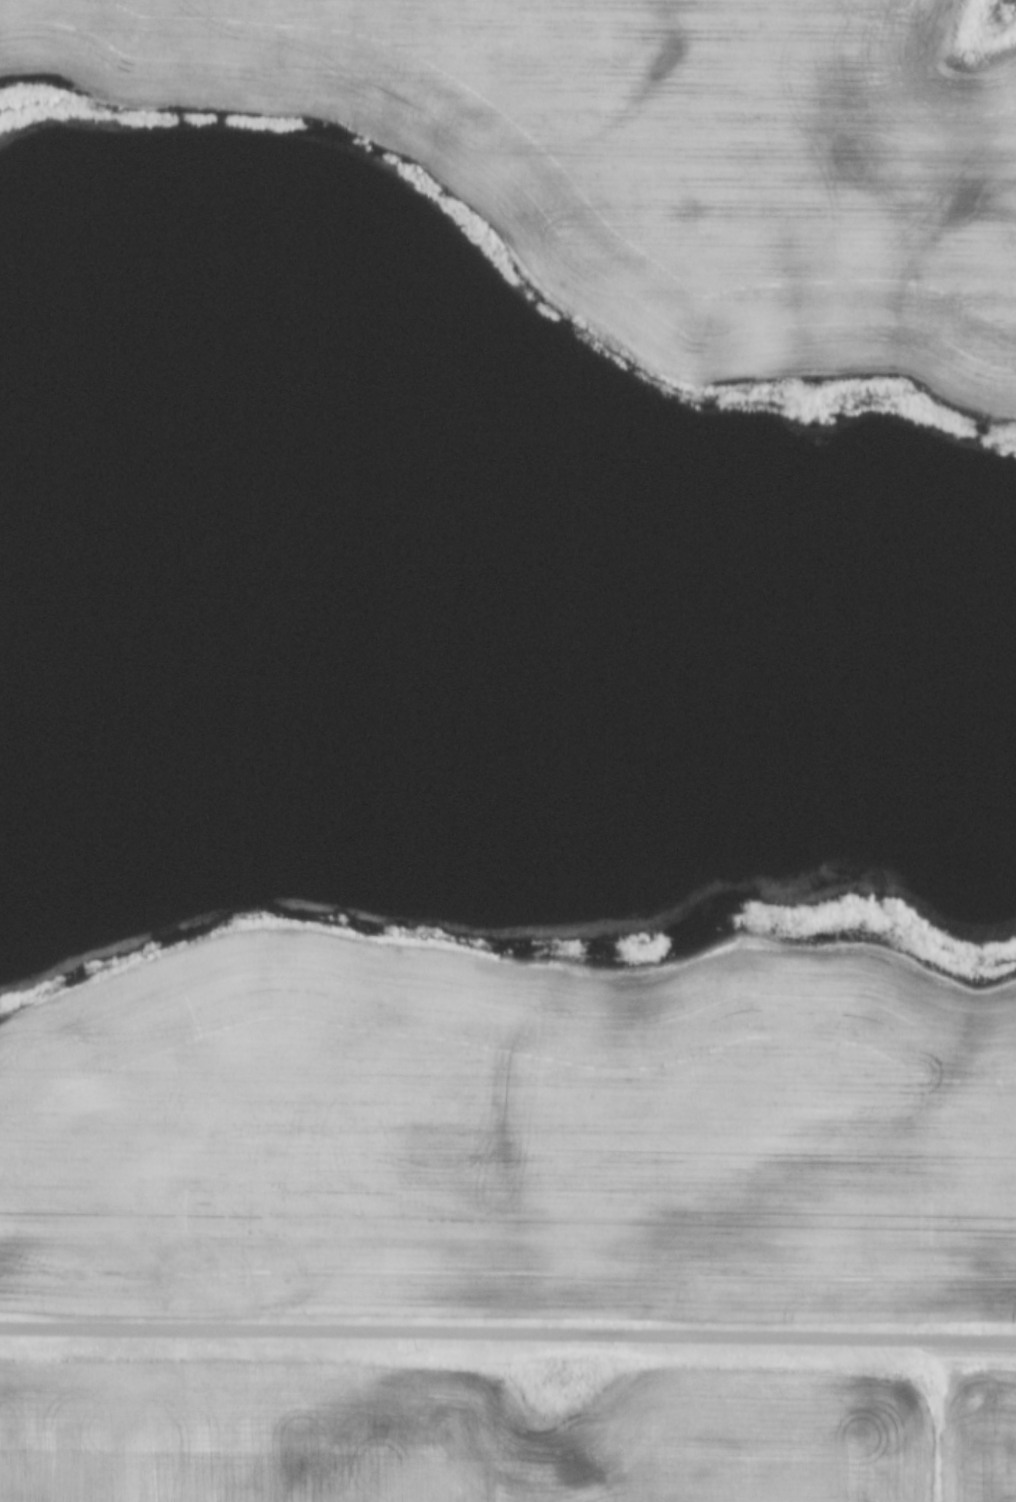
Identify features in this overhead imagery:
road: (508, 1337)

